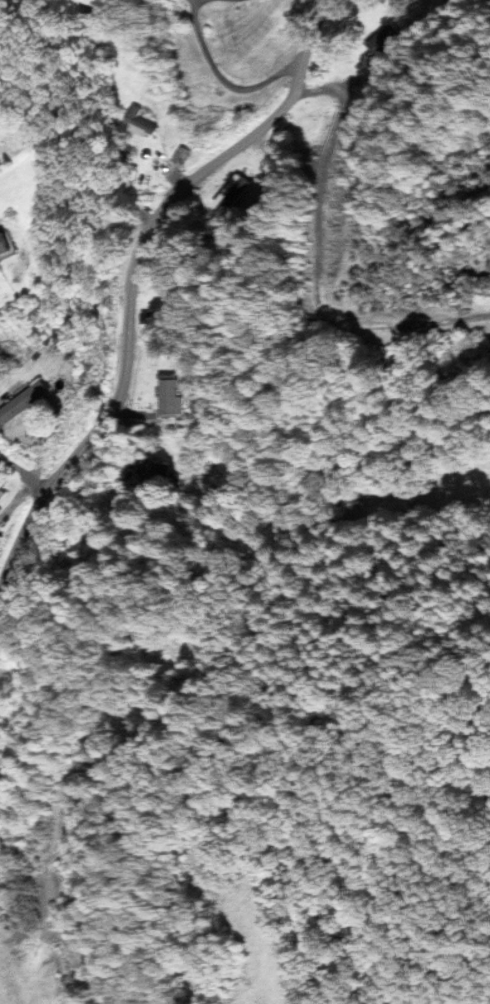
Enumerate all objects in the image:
building: (250, 0)
building: (386, 40)
road: (229, 83)
road: (347, 90)
building: (143, 120)
building: (230, 212)
road: (325, 219)
road: (25, 239)
building: (8, 246)
building: (174, 268)
road: (134, 278)
building: (152, 323)
building: (171, 396)
building: (30, 403)
building: (154, 469)
road: (25, 472)
building: (3, 497)
road: (434, 842)
road: (50, 891)

